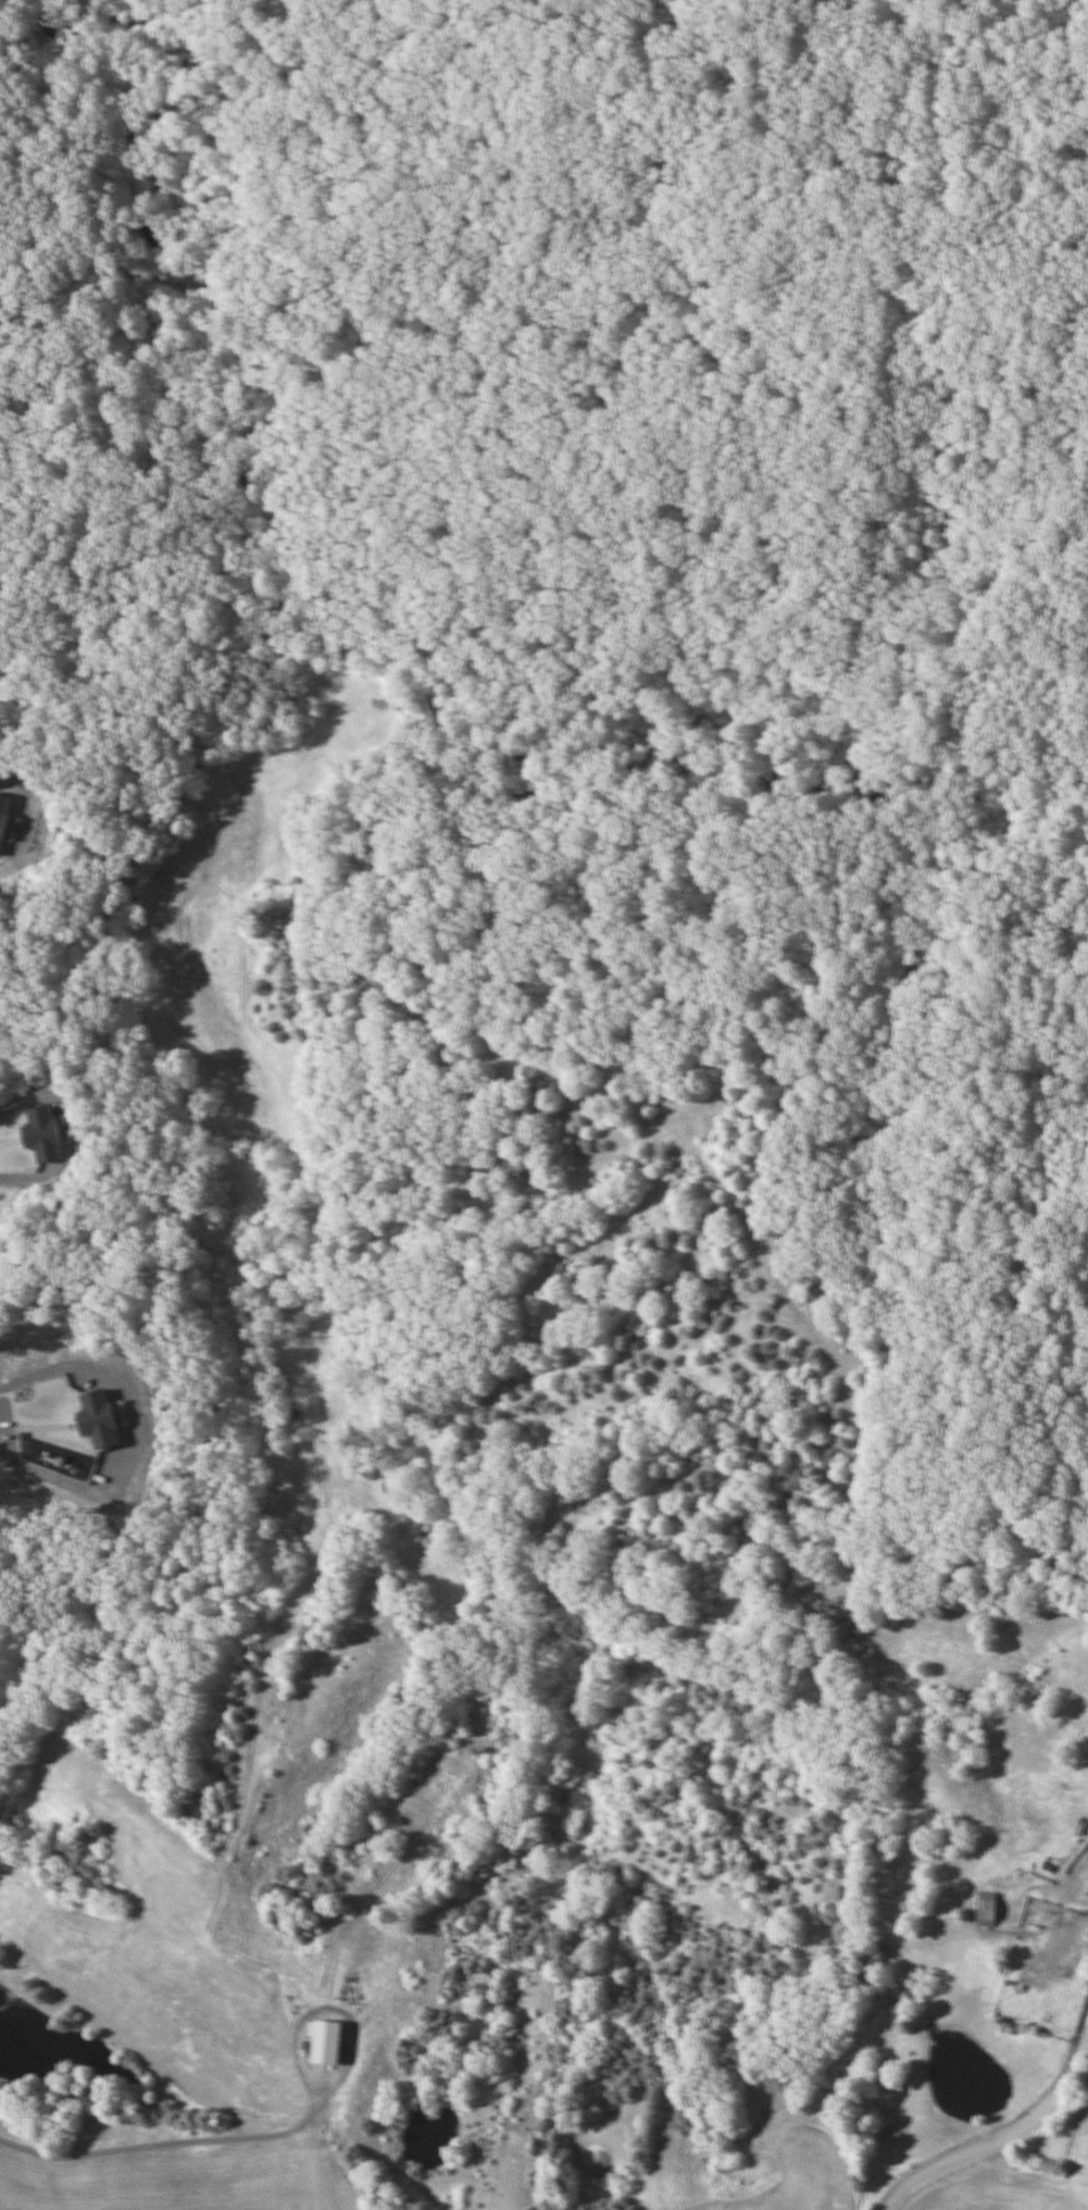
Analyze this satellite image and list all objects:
building: (2, 810)
road: (24, 817)
road: (17, 1097)
building: (40, 1134)
building: (985, 1910)
building: (323, 2041)
road: (1006, 2132)
road: (174, 2139)

